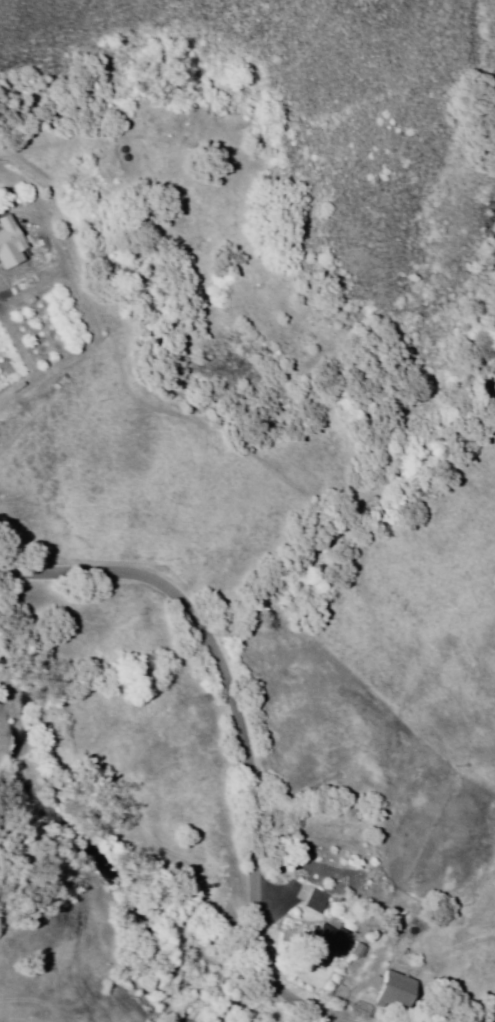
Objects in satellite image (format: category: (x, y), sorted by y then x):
building: (11, 240)
road: (245, 734)
building: (316, 906)
building: (332, 939)
building: (398, 993)
road: (474, 1018)

